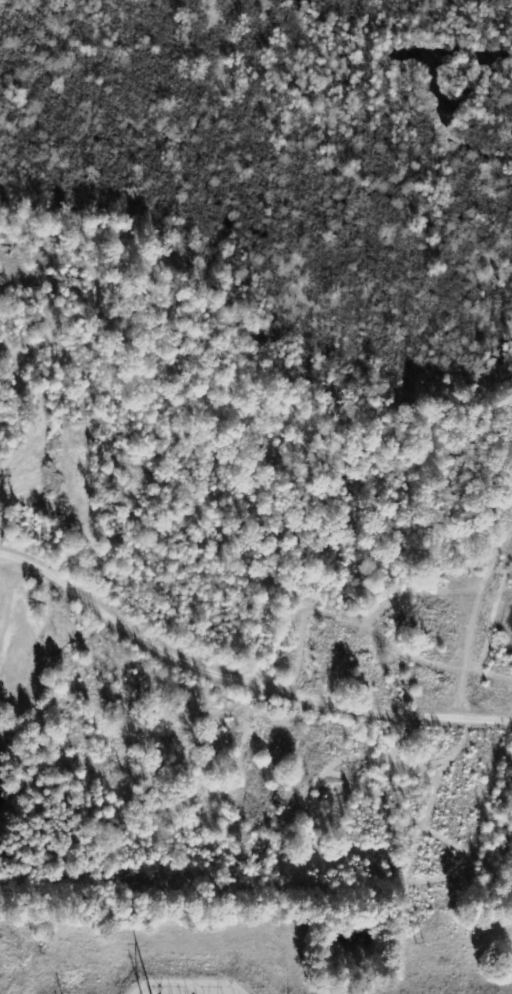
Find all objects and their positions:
power tower: (495, 663)
power tower: (422, 941)
power substation: (186, 986)

